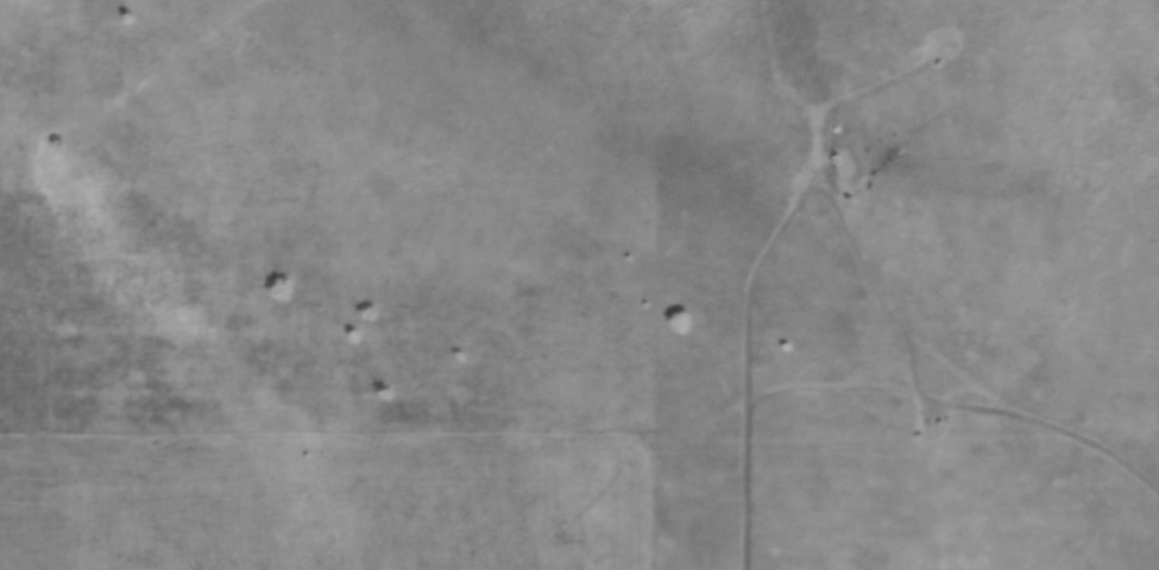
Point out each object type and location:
park: (918, 285)

